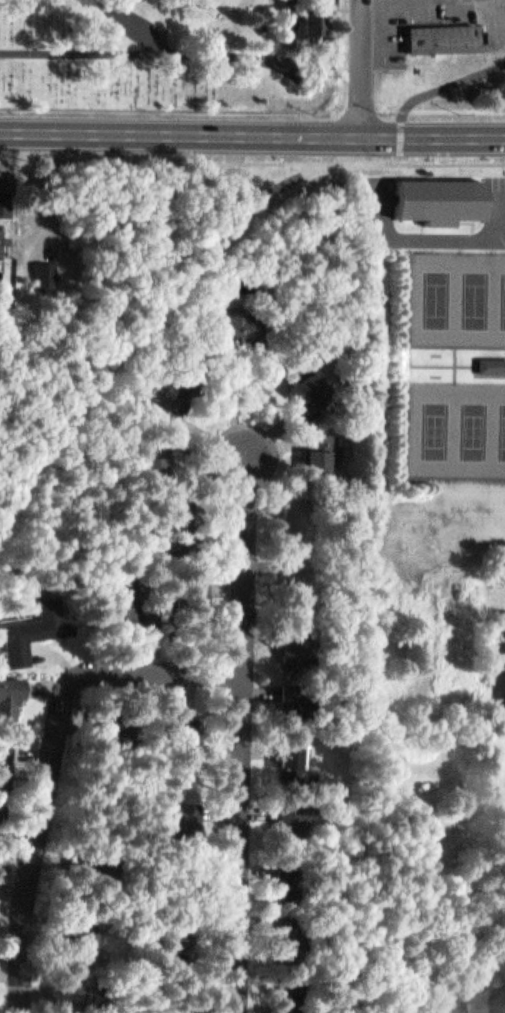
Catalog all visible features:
building: (295, 2)
building: (315, 21)
building: (441, 32)
road: (119, 50)
park: (176, 57)
road: (365, 65)
road: (439, 87)
road: (452, 104)
road: (252, 130)
road: (159, 153)
road: (452, 157)
parking lot: (497, 190)
building: (437, 195)
building: (6, 196)
building: (5, 234)
building: (46, 269)
park: (457, 292)
road: (177, 293)
building: (239, 321)
road: (456, 356)
building: (491, 357)
road: (457, 359)
building: (492, 366)
road: (53, 371)
building: (310, 377)
building: (174, 389)
park: (456, 421)
building: (320, 448)
building: (154, 466)
street lamp: (238, 505)
building: (176, 513)
building: (296, 517)
building: (297, 575)
building: (192, 586)
building: (125, 600)
building: (50, 611)
building: (499, 633)
building: (297, 638)
street lamp: (236, 654)
street lamp: (100, 656)
building: (9, 692)
building: (294, 694)
building: (504, 709)
building: (109, 716)
road: (247, 730)
building: (188, 738)
building: (292, 750)
road: (53, 756)
building: (5, 760)
street lamp: (76, 775)
building: (105, 792)
building: (293, 808)
building: (309, 809)
building: (2, 810)
building: (184, 815)
building: (160, 858)
building: (83, 860)
building: (290, 875)
building: (164, 900)
street lamp: (41, 901)
building: (288, 928)
building: (80, 929)
building: (161, 951)
building: (71, 985)
building: (289, 989)
building: (462, 998)
building: (202, 1006)

